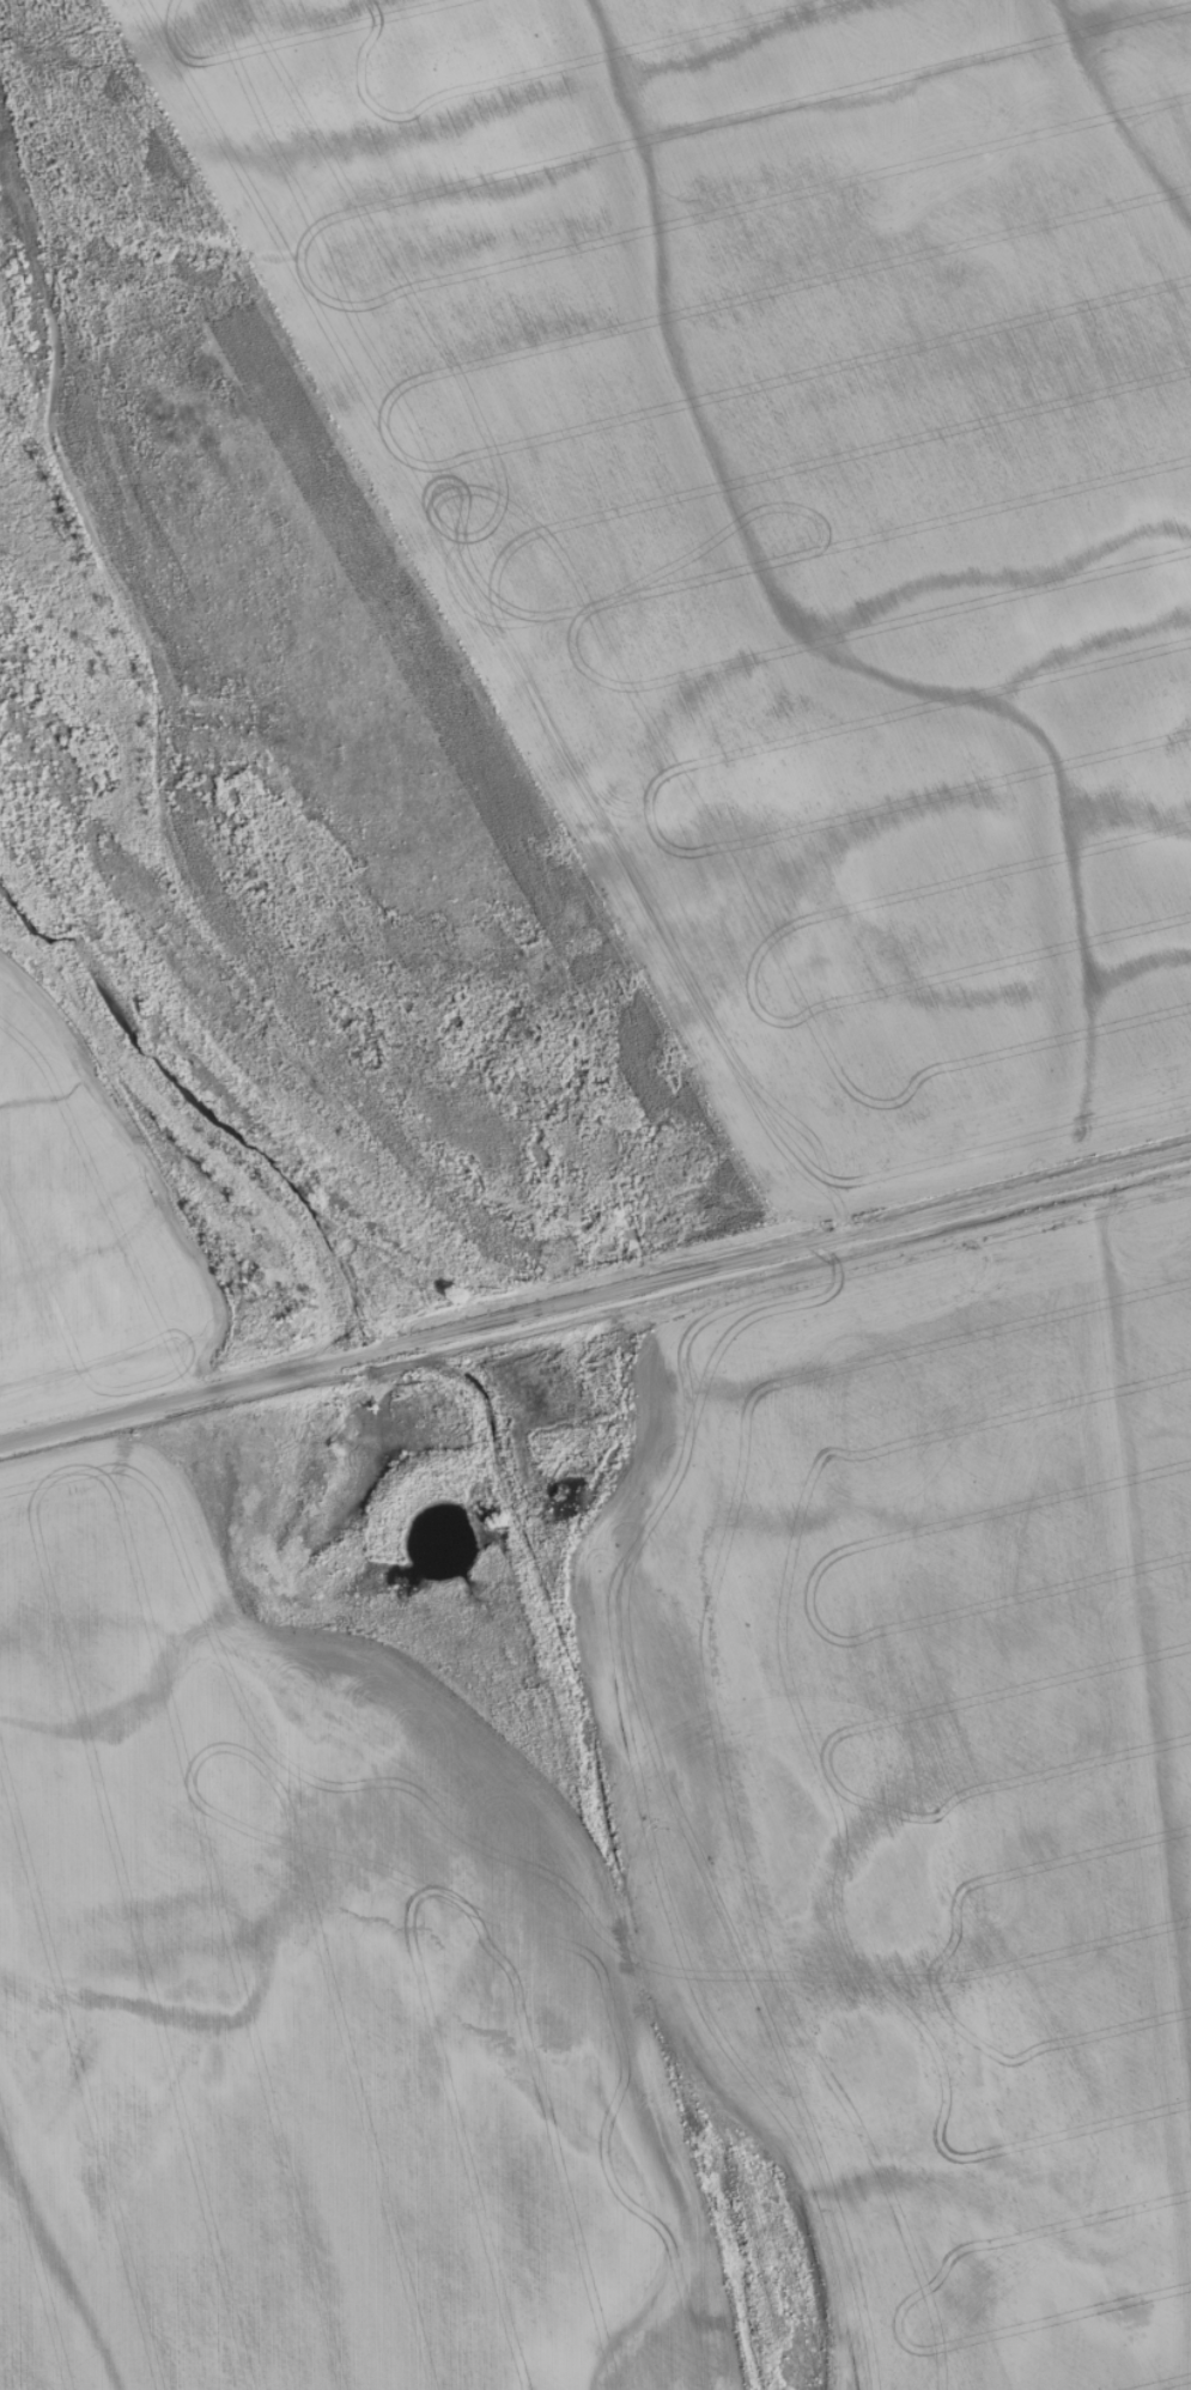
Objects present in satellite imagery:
road: (595, 1291)

